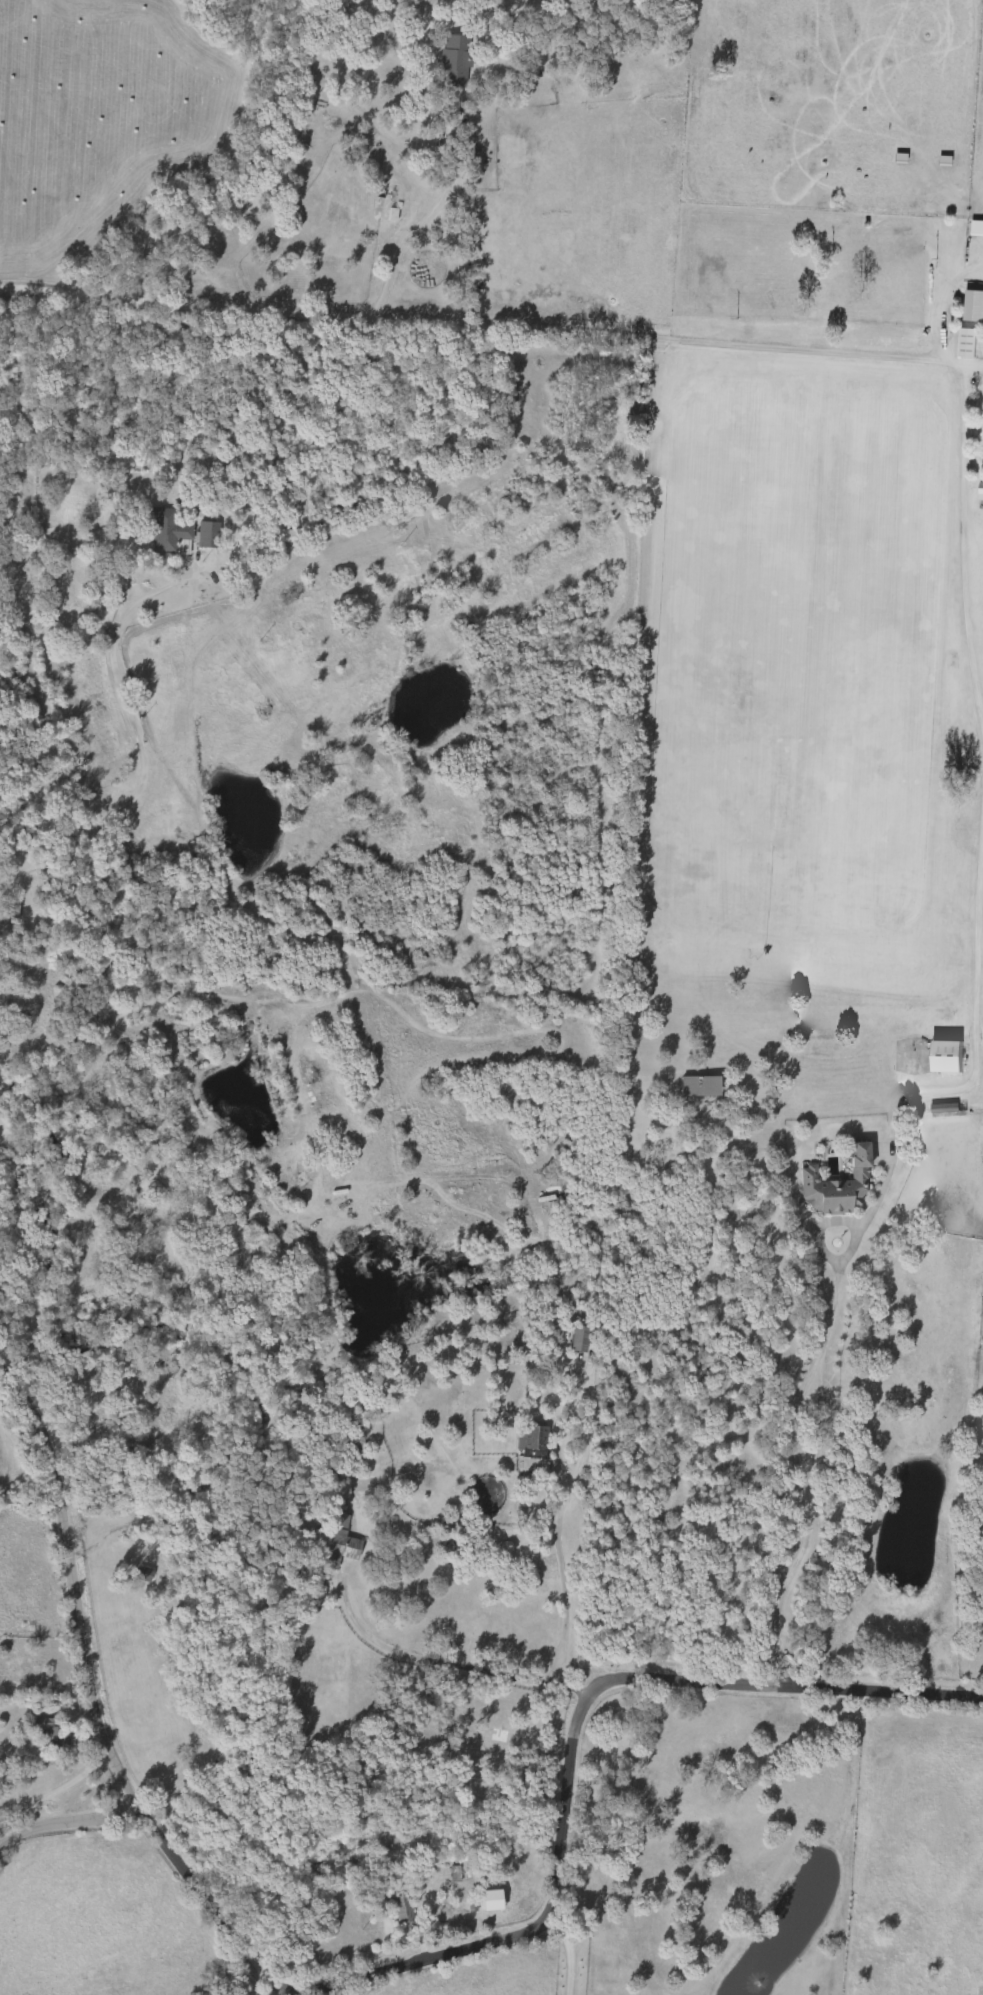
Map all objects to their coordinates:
building: (455, 64)
building: (387, 204)
road: (432, 222)
building: (977, 231)
building: (968, 345)
road: (845, 350)
road: (975, 367)
building: (170, 535)
building: (209, 537)
road: (141, 746)
building: (11, 909)
road: (982, 950)
building: (947, 1058)
building: (701, 1088)
building: (839, 1188)
building: (578, 1341)
building: (533, 1440)
road: (805, 1469)
building: (335, 1545)
building: (145, 1576)
road: (559, 1577)
road: (447, 1664)
road: (582, 1710)
building: (54, 1734)
road: (101, 1741)
road: (57, 1793)
road: (66, 1830)
building: (456, 1877)
building: (405, 1912)
road: (570, 1953)

